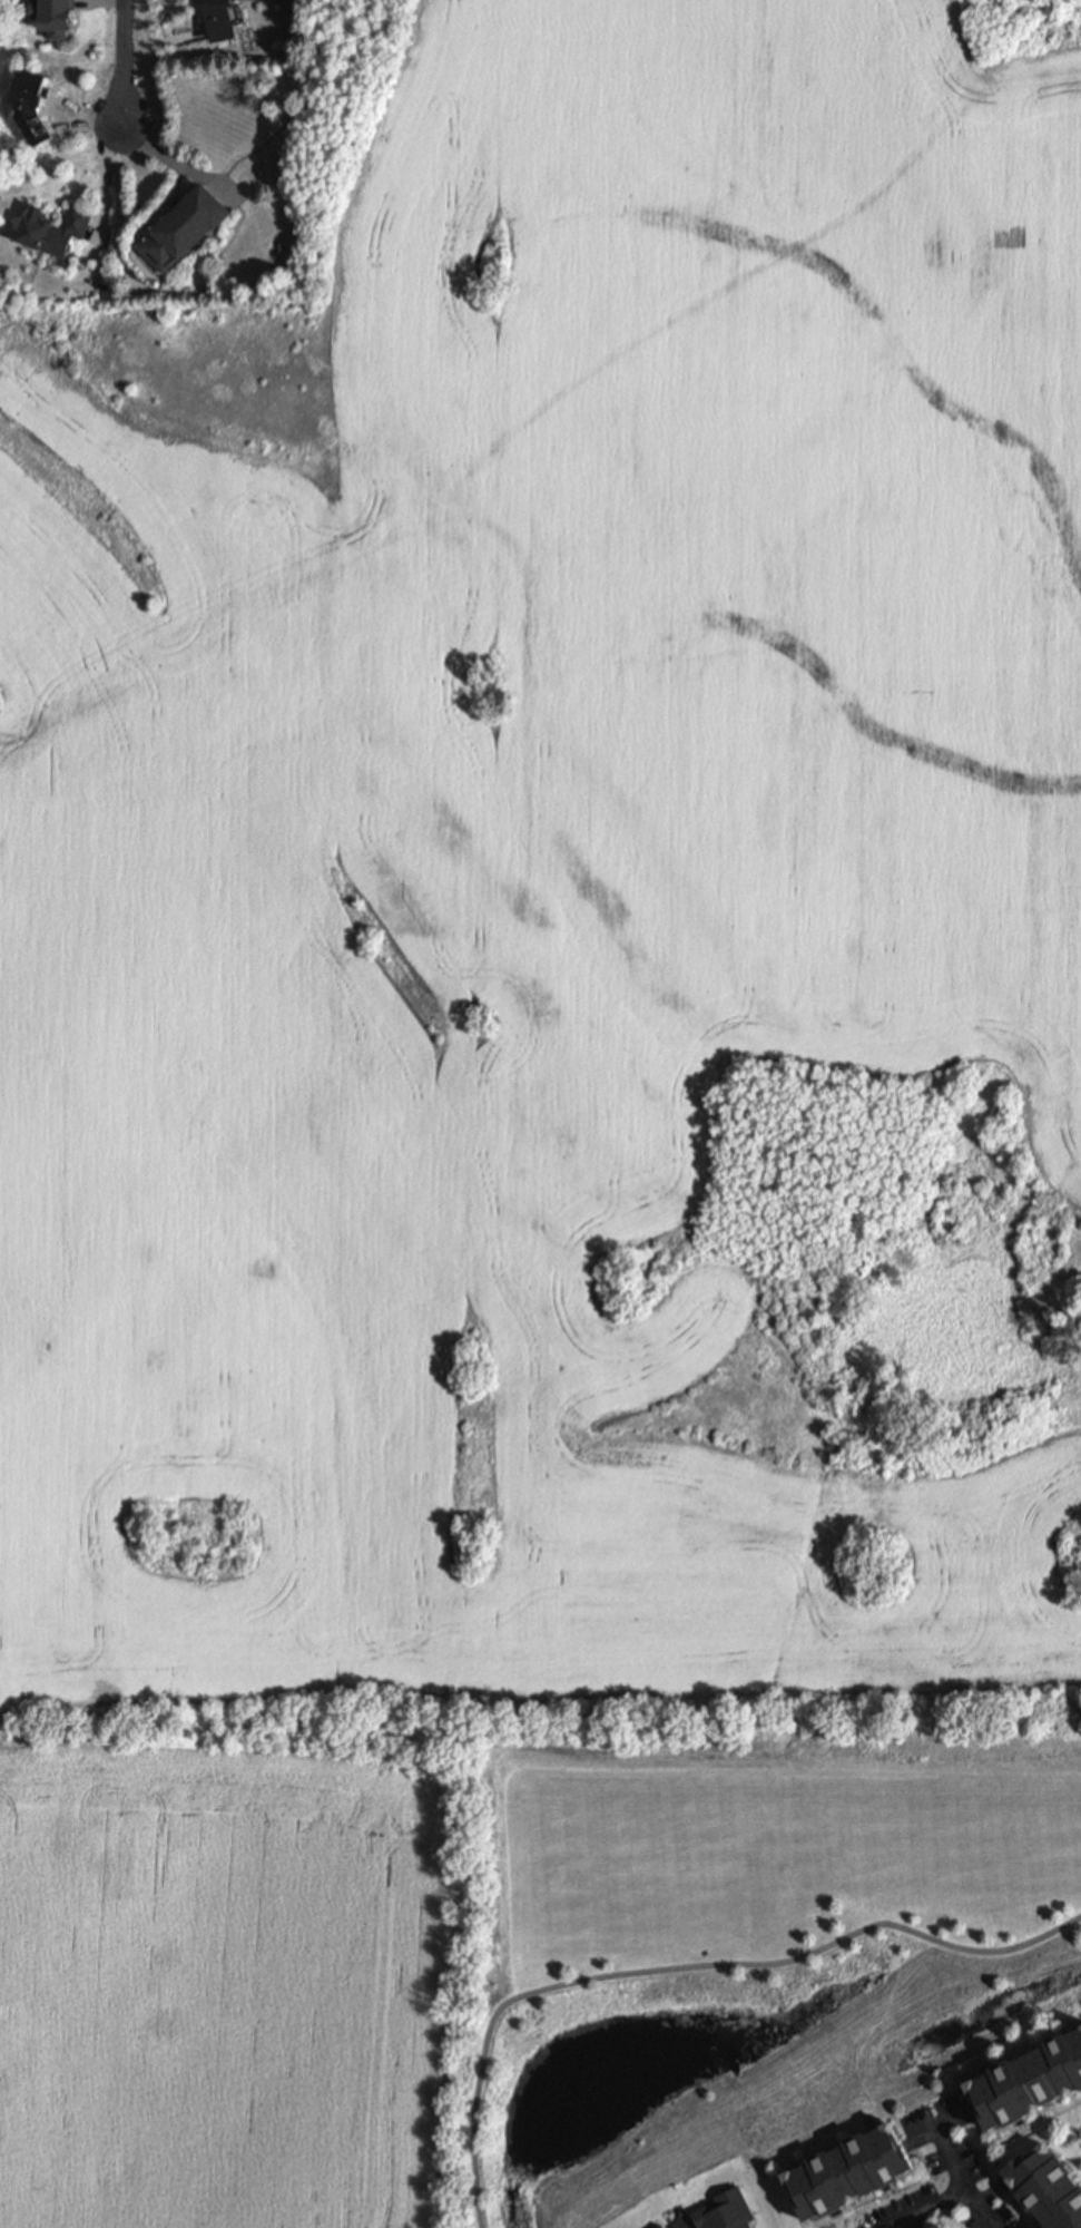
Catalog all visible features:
building: (56, 17)
building: (218, 19)
road: (164, 43)
road: (124, 68)
road: (180, 165)
road: (106, 182)
building: (187, 228)
building: (56, 231)
crop: (559, 911)
park: (733, 1933)
road: (687, 1967)
road: (49, 2006)
building: (1029, 2080)
road: (940, 2128)
building: (843, 2172)
road: (963, 2180)
building: (1049, 2187)
road: (932, 2208)
building: (724, 2210)
building: (657, 2226)
building: (942, 2226)
building: (1040, 2227)

